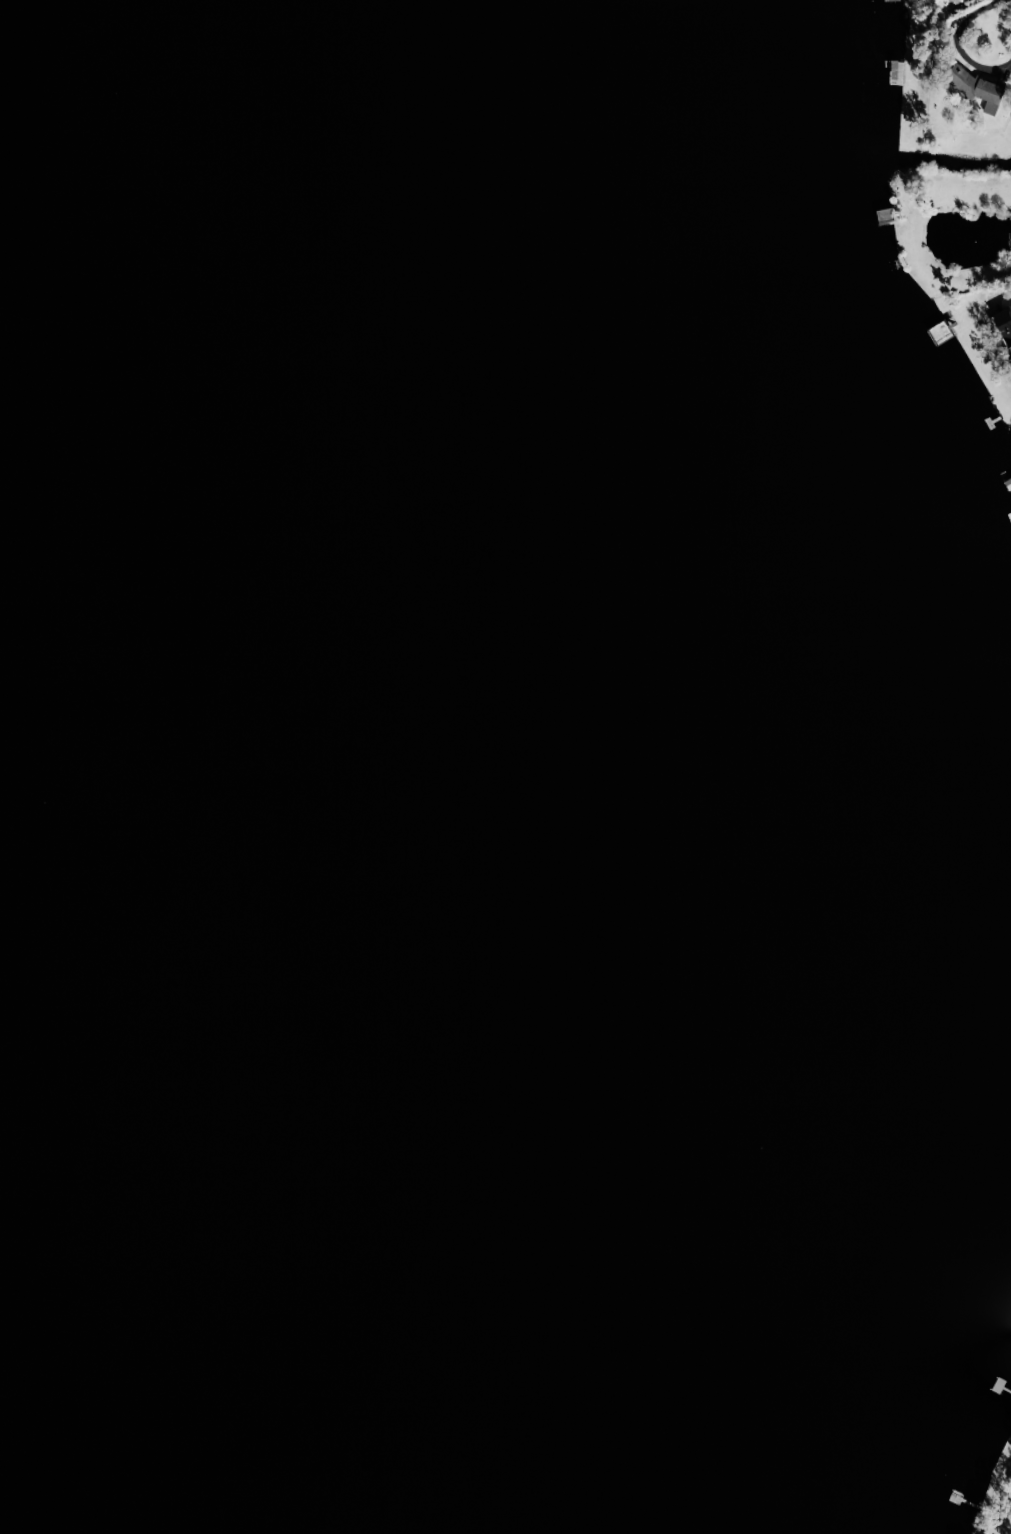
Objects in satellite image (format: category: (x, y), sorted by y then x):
road: (958, 41)
building: (976, 88)
road: (1010, 291)

